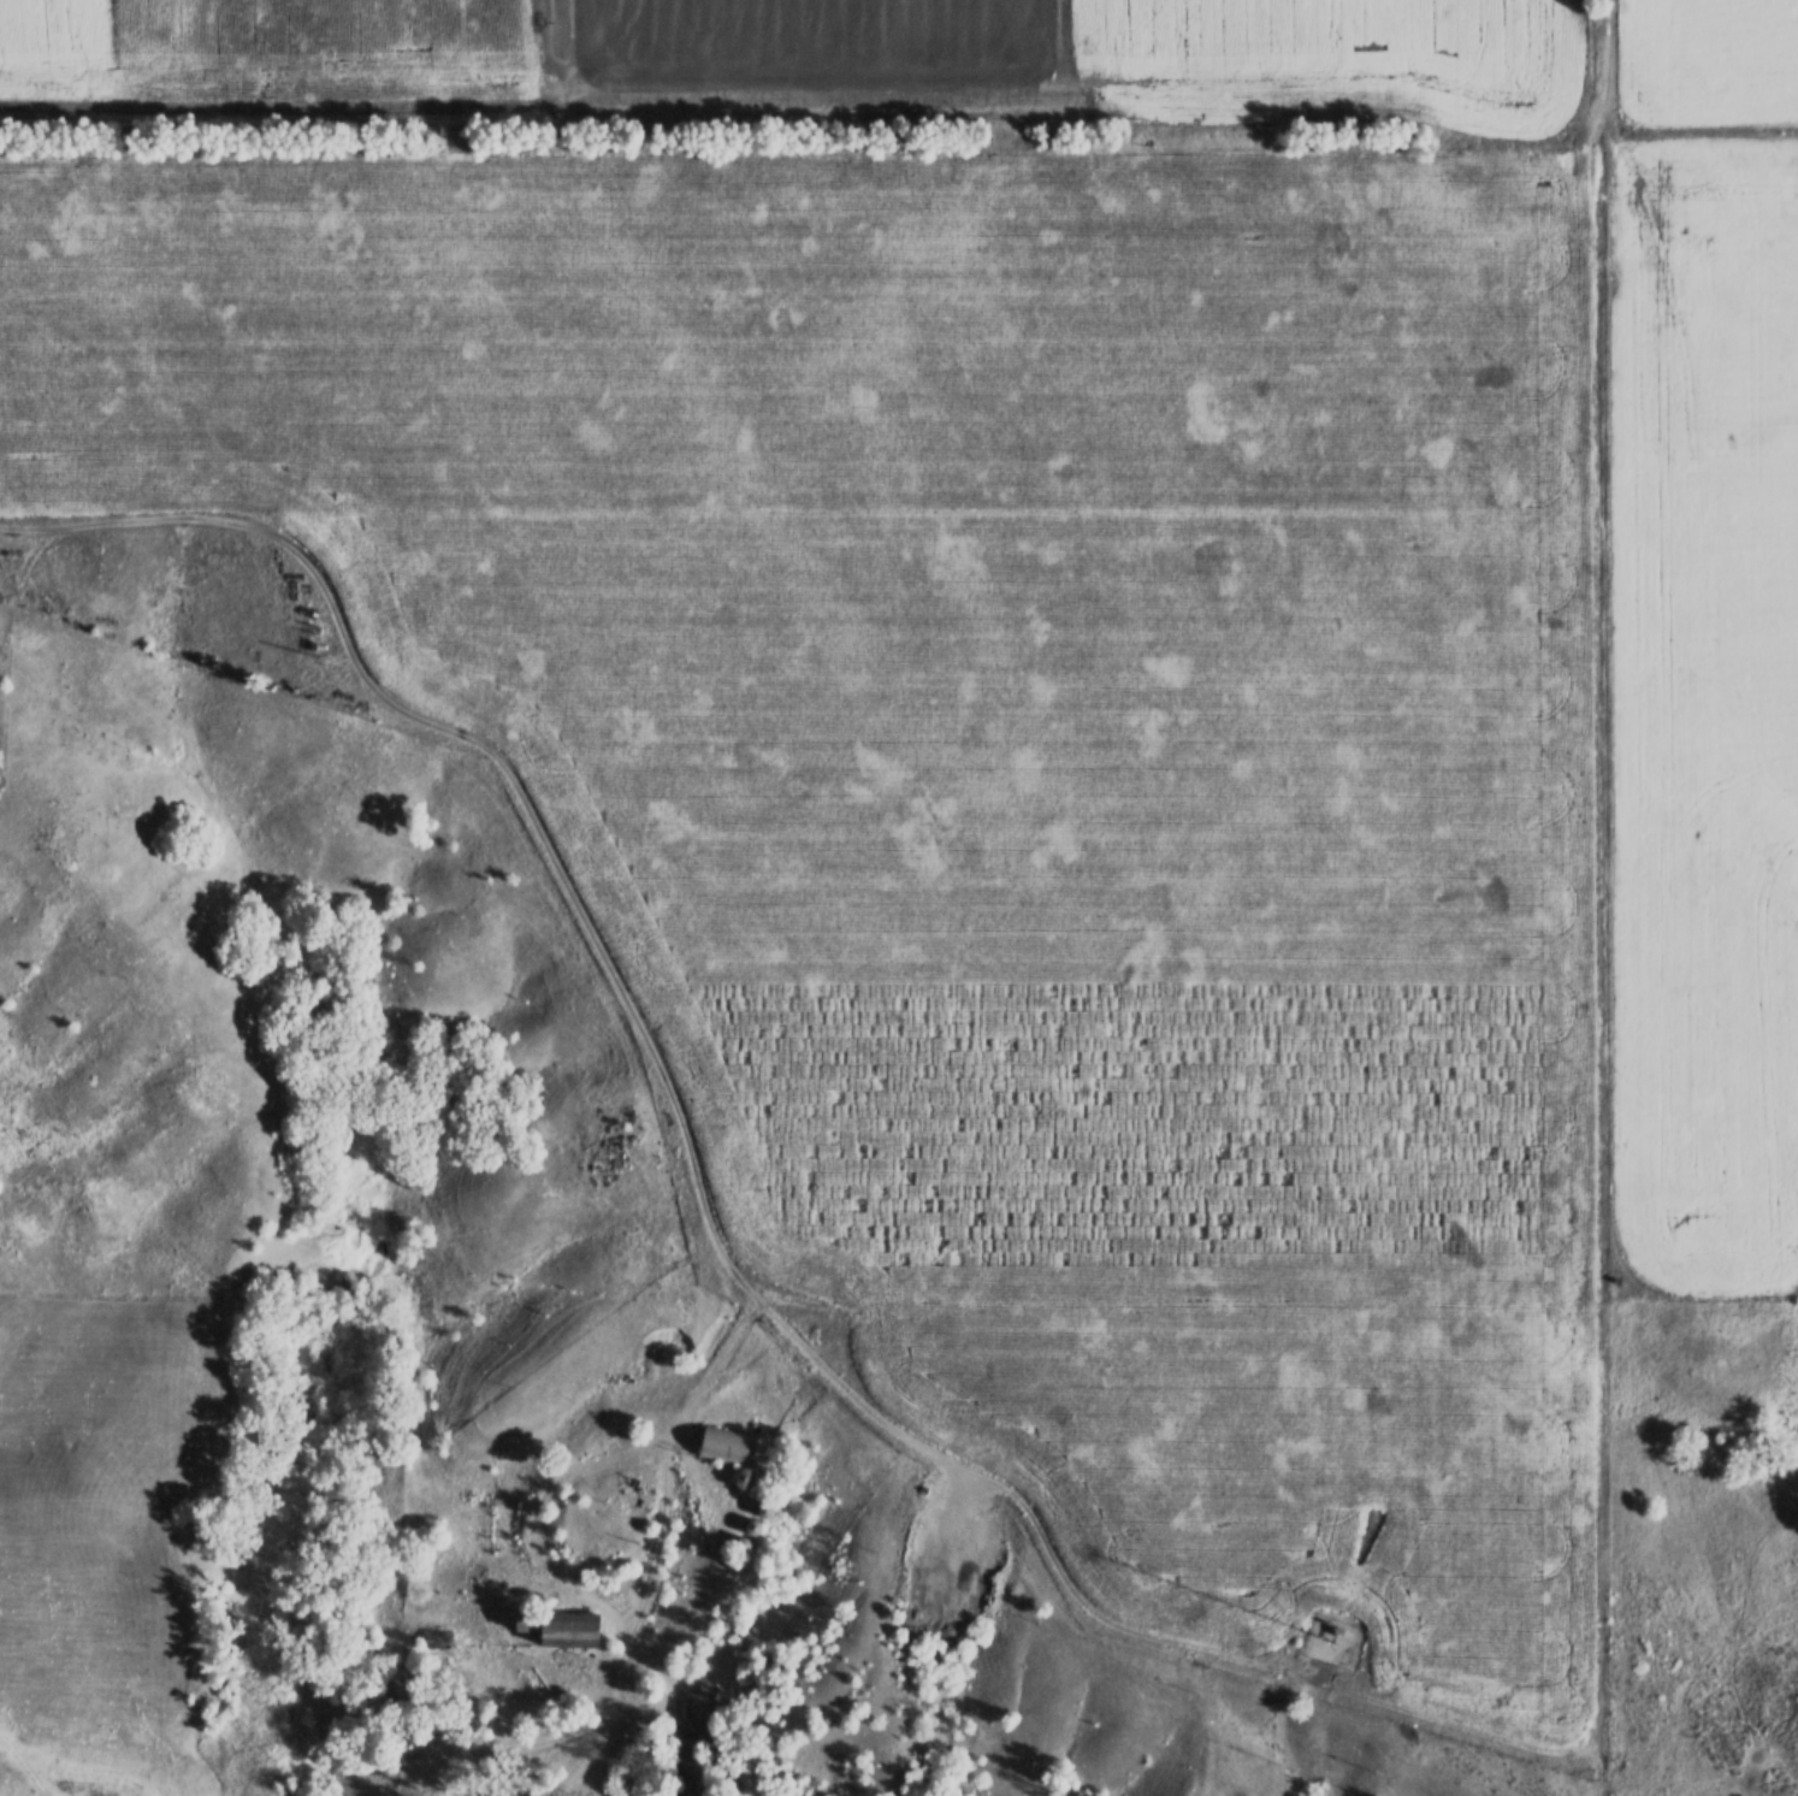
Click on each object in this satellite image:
building: (727, 1442)
building: (741, 1477)
silo: (741, 1477)
building: (764, 1508)
silo: (764, 1508)
building: (751, 1525)
silo: (751, 1525)
building: (739, 1543)
silo: (739, 1543)
building: (557, 1625)
building: (1342, 1640)
road: (517, 1753)

